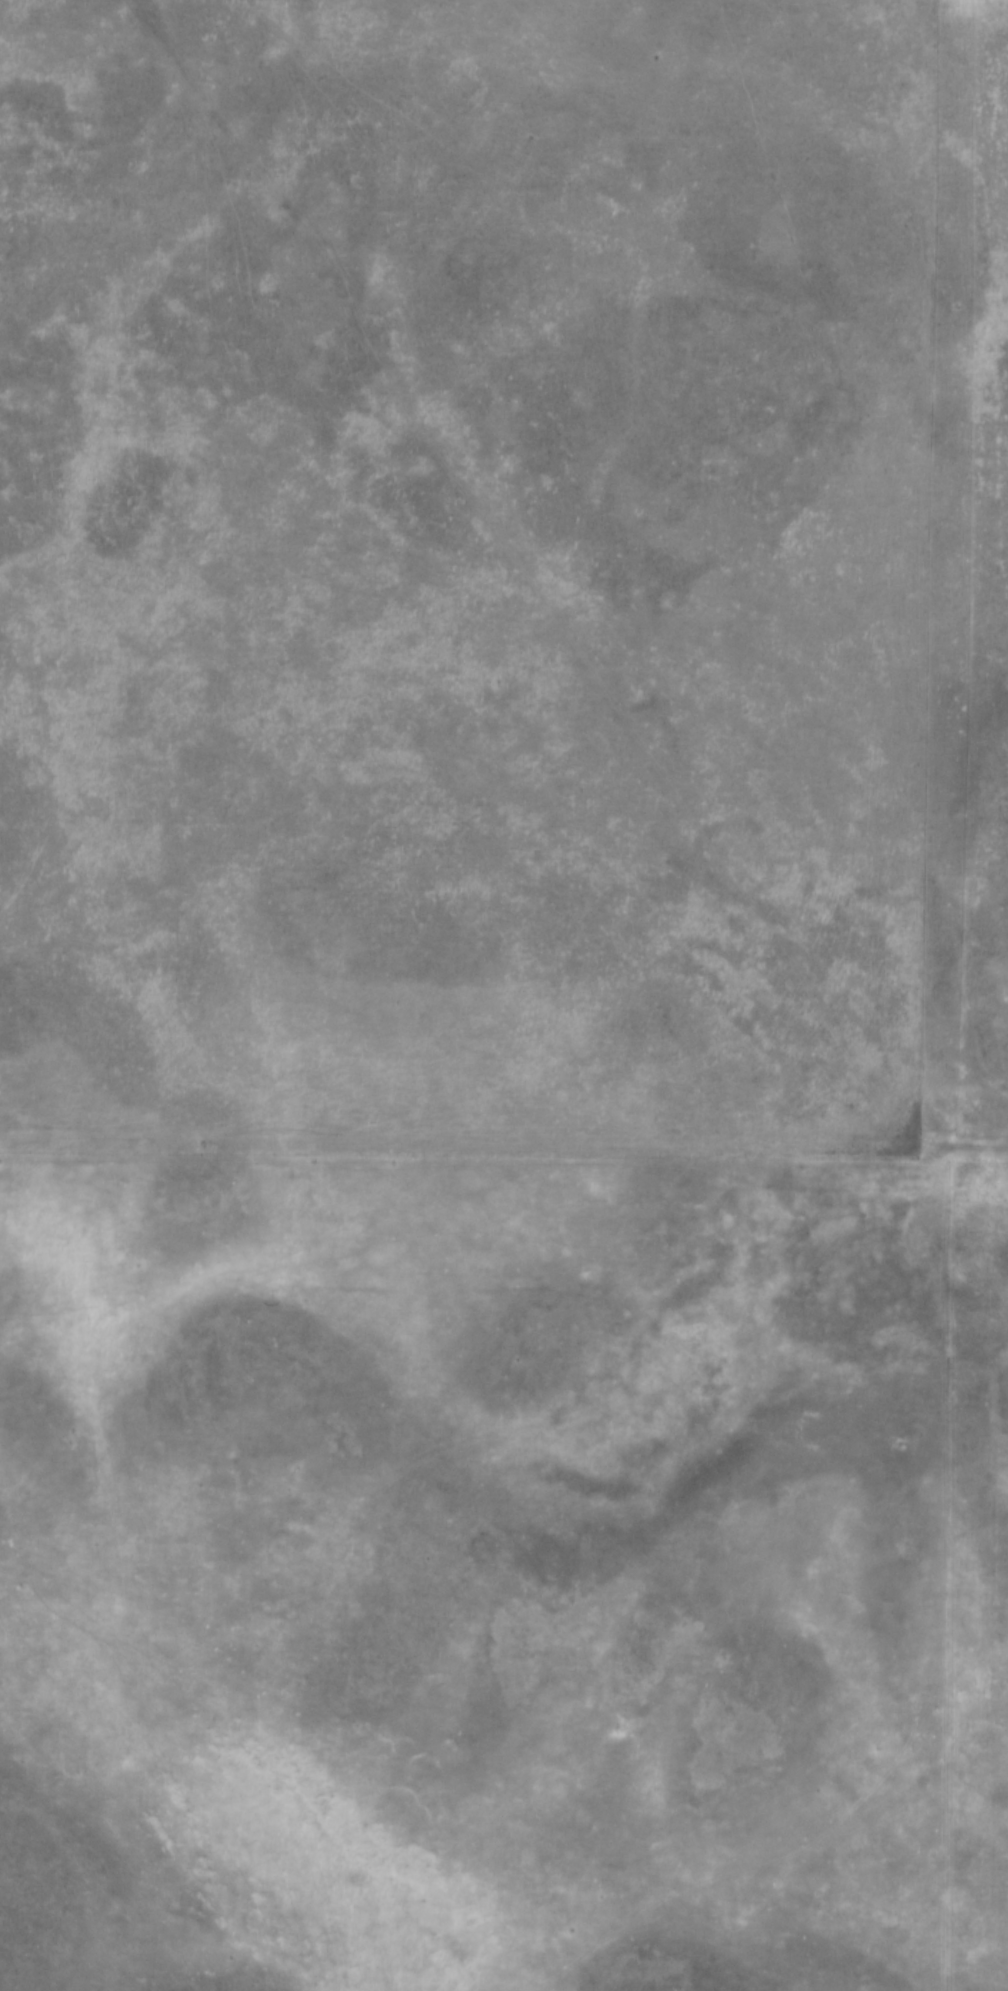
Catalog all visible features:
road: (908, 995)

